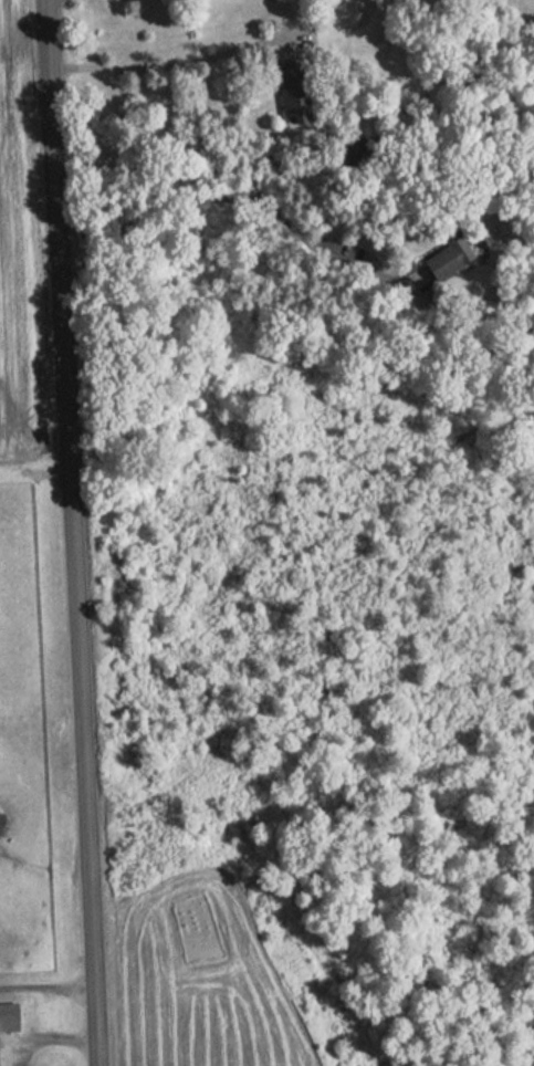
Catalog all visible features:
road: (166, 61)
building: (292, 98)
road: (243, 197)
road: (72, 532)
road: (45, 980)
building: (6, 1030)
road: (48, 1032)

